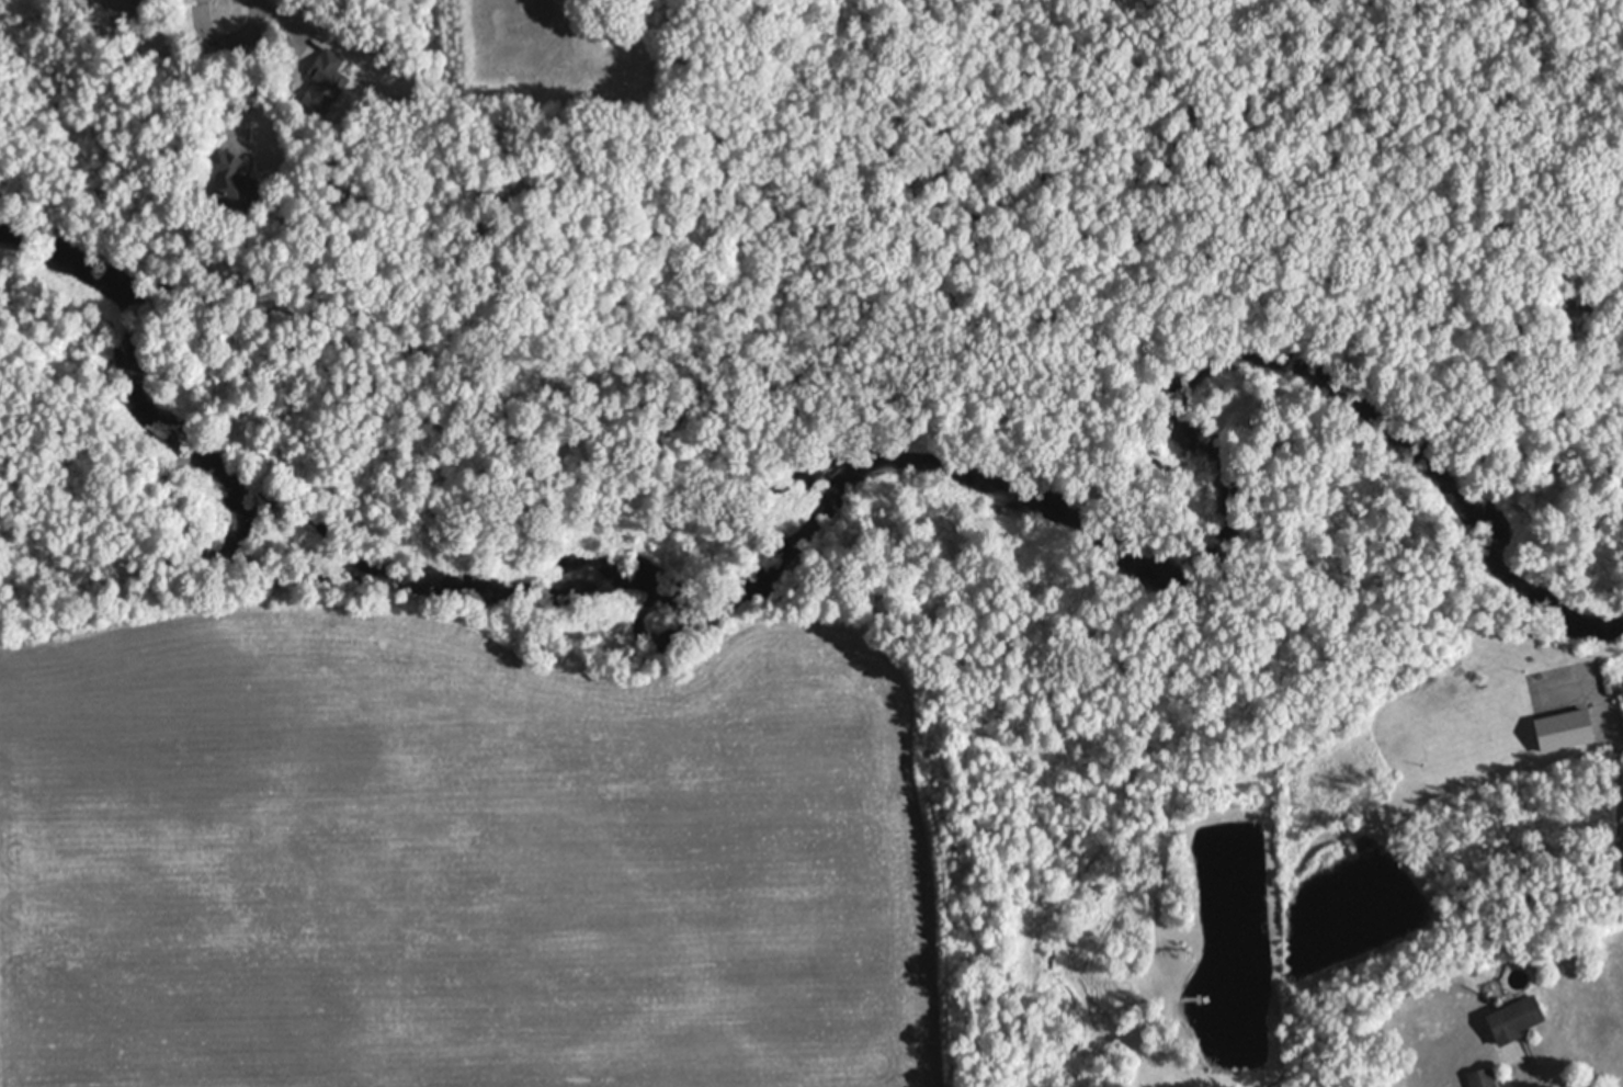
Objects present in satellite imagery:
road: (222, 5)
building: (322, 81)
building: (236, 182)
building: (1593, 296)
building: (1569, 319)
river: (899, 513)
building: (1564, 731)
road: (1616, 746)
building: (1514, 1019)
building: (1483, 1077)

